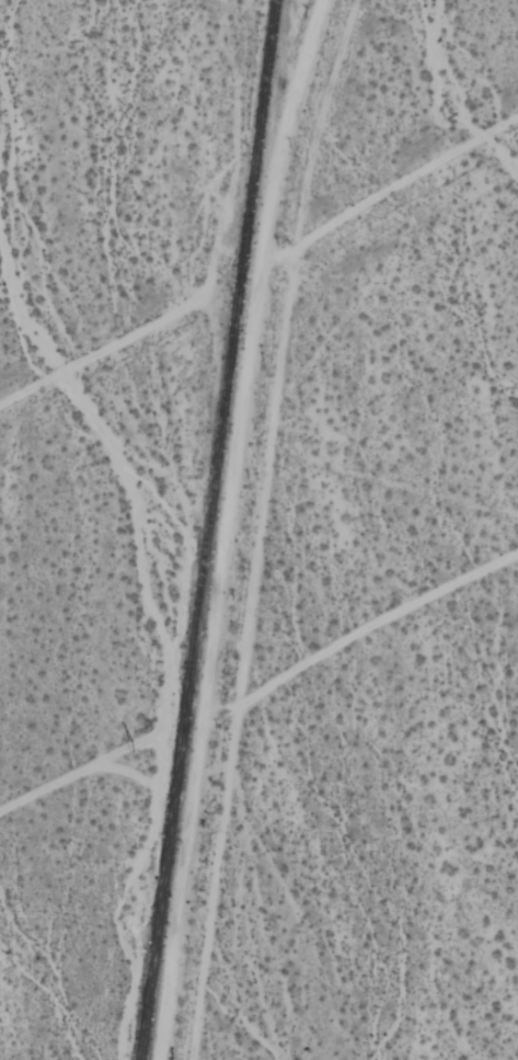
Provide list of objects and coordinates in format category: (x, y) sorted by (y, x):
road: (111, 346)
road: (222, 526)
railway: (208, 529)
power tower: (138, 748)

